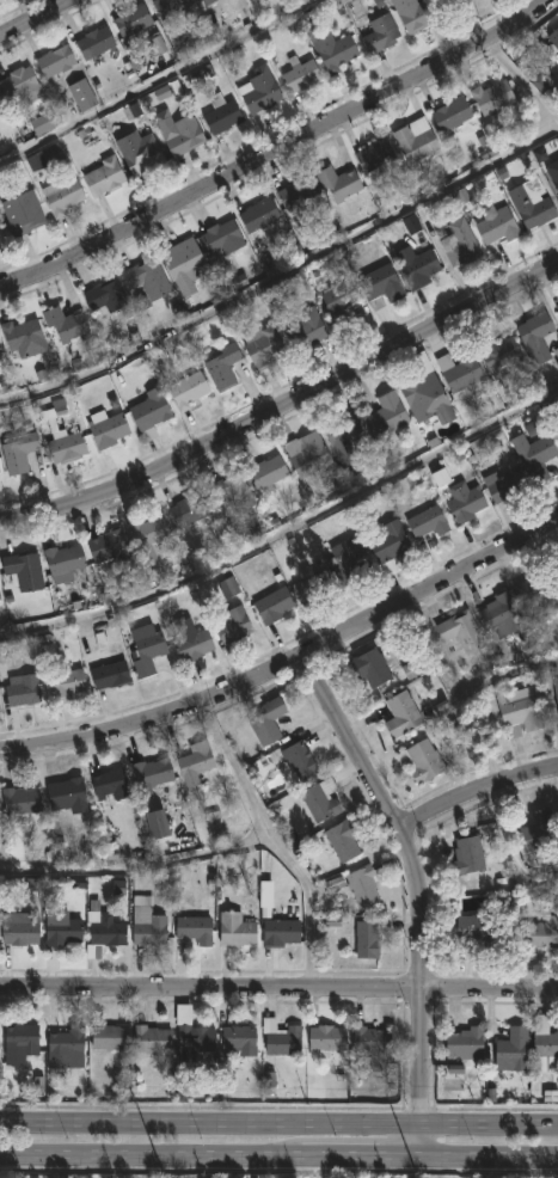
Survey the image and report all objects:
building: (206, 2)
building: (170, 7)
building: (416, 13)
road: (35, 19)
building: (134, 22)
building: (379, 32)
building: (552, 41)
building: (93, 42)
building: (332, 49)
building: (55, 60)
road: (503, 63)
building: (299, 74)
road: (158, 80)
building: (17, 81)
building: (259, 90)
building: (80, 93)
building: (491, 96)
building: (0, 106)
building: (220, 113)
building: (450, 113)
building: (183, 135)
building: (415, 139)
road: (277, 148)
building: (373, 153)
building: (141, 154)
building: (45, 157)
building: (103, 174)
building: (337, 180)
building: (554, 180)
building: (61, 192)
building: (299, 192)
building: (531, 203)
building: (22, 211)
building: (258, 215)
building: (496, 223)
building: (221, 237)
building: (459, 241)
building: (0, 243)
building: (184, 263)
building: (417, 266)
road: (286, 278)
building: (146, 281)
building: (379, 284)
building: (104, 295)
building: (338, 302)
building: (63, 323)
building: (300, 326)
building: (534, 336)
building: (23, 337)
building: (262, 344)
building: (556, 351)
building: (499, 358)
building: (221, 366)
building: (557, 366)
building: (461, 374)
building: (186, 389)
building: (425, 398)
road: (284, 404)
building: (149, 409)
building: (386, 415)
building: (106, 428)
building: (61, 438)
building: (343, 438)
building: (18, 452)
building: (306, 453)
building: (535, 456)
building: (265, 471)
building: (503, 483)
building: (231, 491)
building: (462, 502)
building: (188, 509)
building: (427, 522)
building: (146, 534)
road: (286, 538)
building: (387, 544)
building: (108, 547)
building: (345, 558)
building: (62, 562)
building: (23, 570)
building: (557, 576)
building: (311, 589)
building: (536, 590)
building: (272, 605)
building: (499, 614)
building: (231, 624)
building: (460, 631)
building: (191, 643)
building: (145, 651)
road: (288, 661)
building: (369, 667)
building: (109, 674)
road: (507, 679)
building: (65, 683)
building: (22, 688)
building: (556, 689)
building: (516, 710)
building: (401, 714)
building: (266, 720)
road: (486, 748)
building: (299, 760)
building: (421, 761)
building: (195, 762)
building: (151, 772)
road: (239, 772)
building: (109, 783)
road: (477, 793)
building: (66, 794)
building: (319, 799)
building: (19, 802)
building: (155, 824)
building: (538, 832)
building: (342, 840)
building: (467, 854)
road: (140, 872)
building: (361, 885)
road: (418, 889)
road: (311, 910)
building: (147, 927)
building: (234, 928)
building: (18, 929)
building: (194, 929)
building: (480, 929)
building: (61, 931)
building: (102, 931)
building: (278, 932)
building: (541, 933)
building: (367, 939)
road: (278, 988)
building: (109, 1037)
building: (191, 1037)
building: (280, 1038)
building: (151, 1039)
building: (325, 1039)
building: (370, 1039)
building: (238, 1042)
building: (19, 1043)
building: (465, 1043)
building: (544, 1045)
building: (63, 1047)
building: (513, 1049)
road: (278, 1122)
road: (278, 1153)

